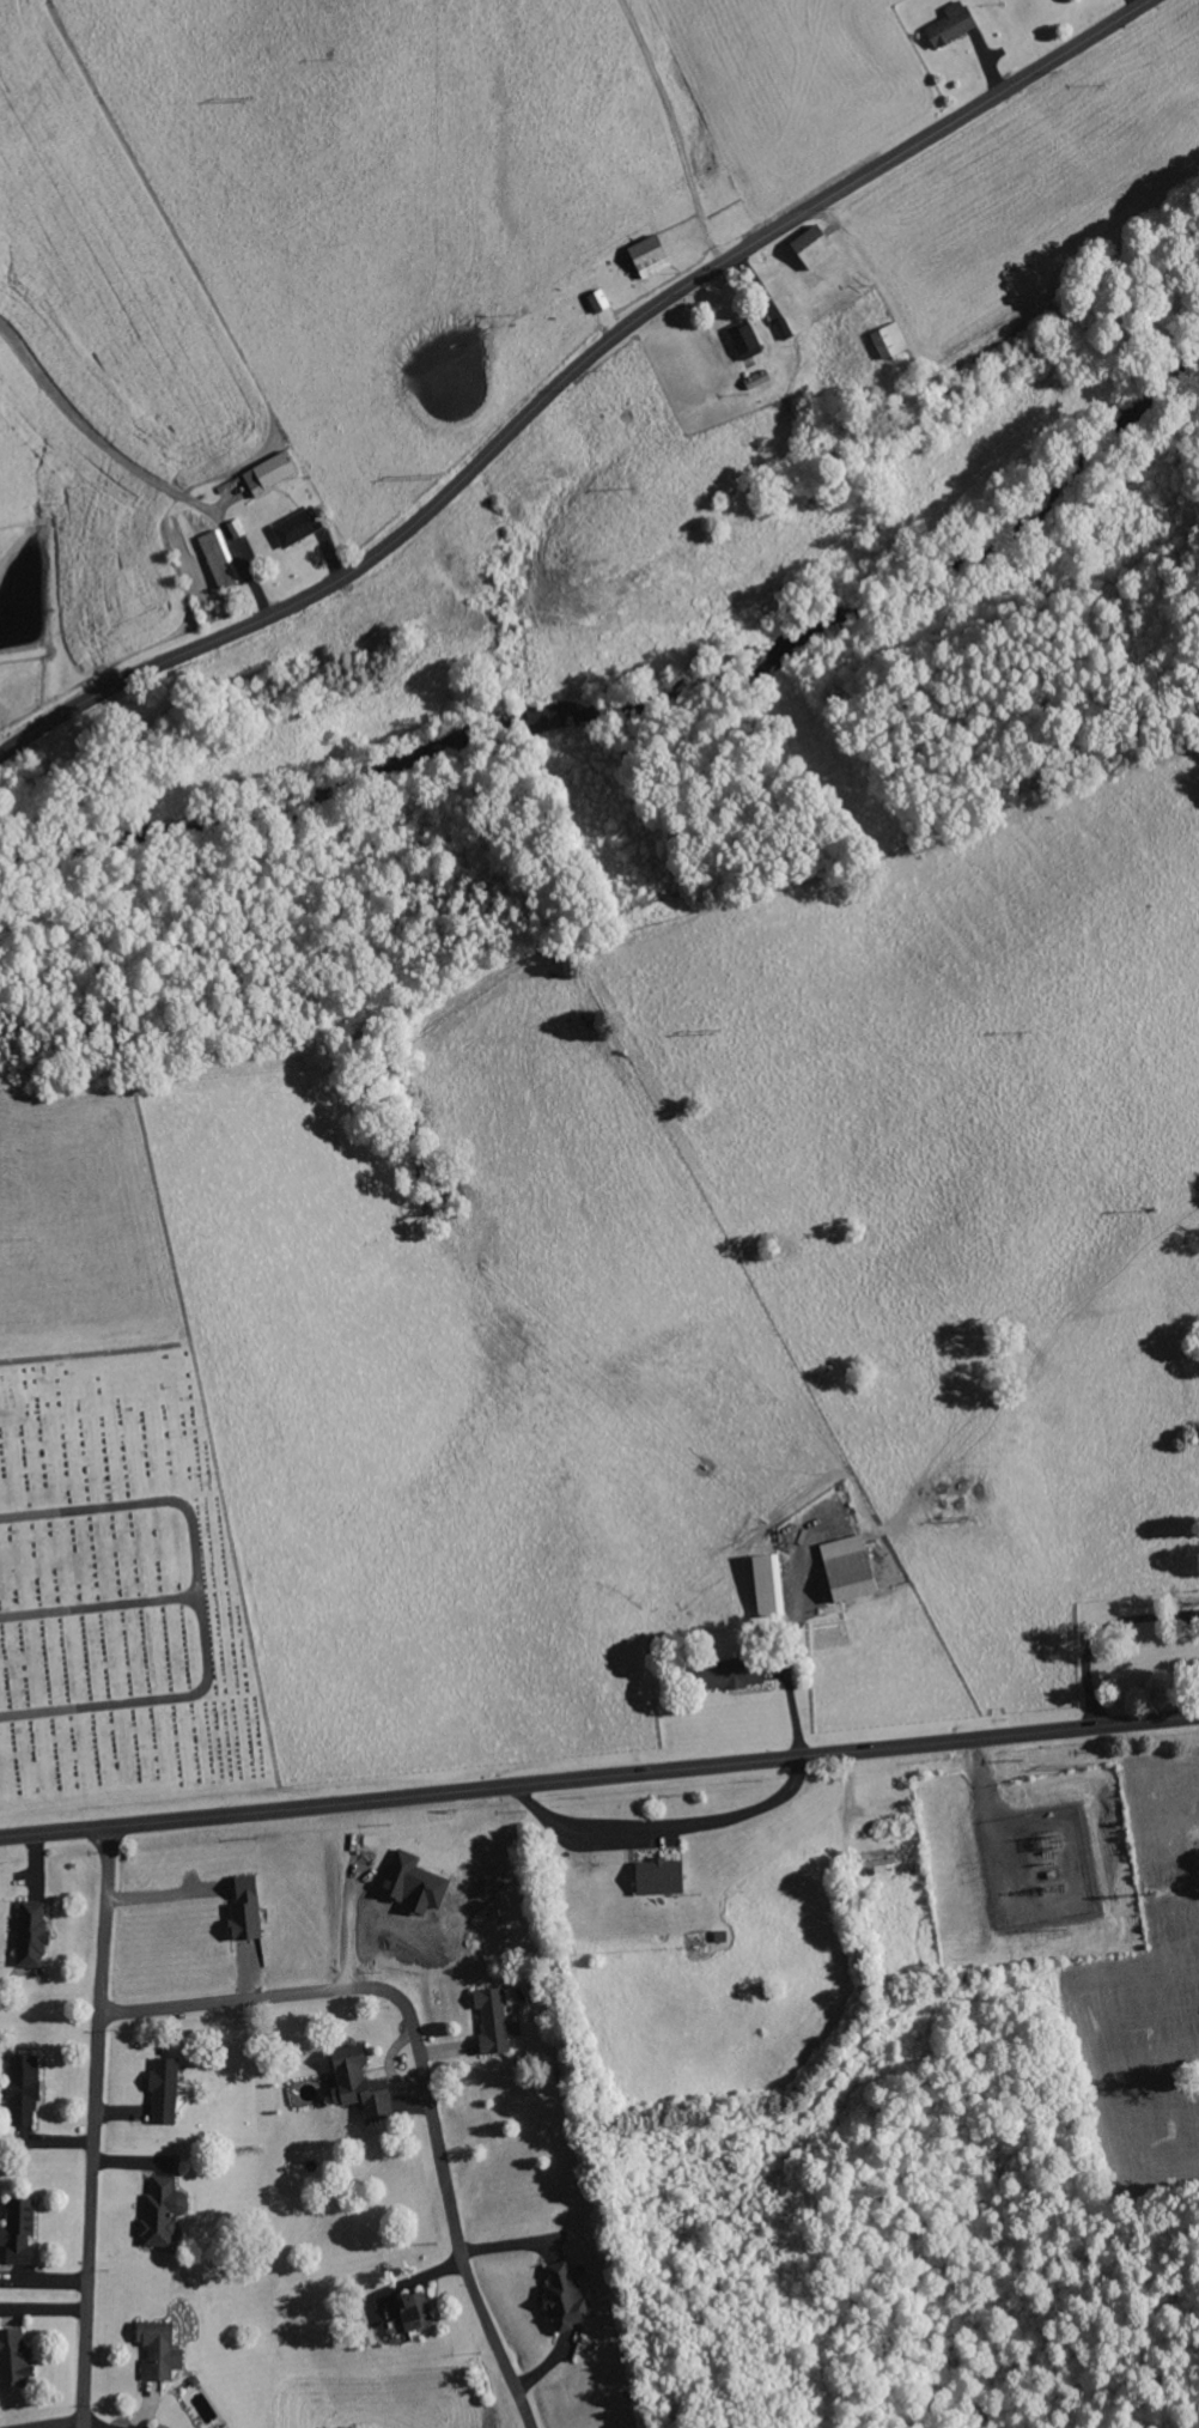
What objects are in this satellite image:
building: (950, 24)
building: (812, 247)
building: (649, 256)
building: (889, 340)
building: (745, 341)
road: (571, 375)
building: (269, 473)
building: (297, 527)
building: (219, 559)
building: (847, 1567)
building: (767, 1584)
park: (121, 1591)
road: (203, 1608)
road: (102, 1609)
building: (732, 1673)
road: (598, 1772)
building: (880, 1861)
road: (683, 1869)
building: (658, 1876)
building: (413, 1883)
building: (244, 1908)
building: (31, 1932)
building: (492, 2020)
road: (852, 2060)
road: (419, 2068)
building: (358, 2084)
building: (23, 2087)
building: (164, 2092)
road: (92, 2126)
building: (162, 2211)
building: (18, 2232)
building: (565, 2298)
building: (412, 2313)
building: (158, 2350)
building: (13, 2357)
road: (89, 2426)

